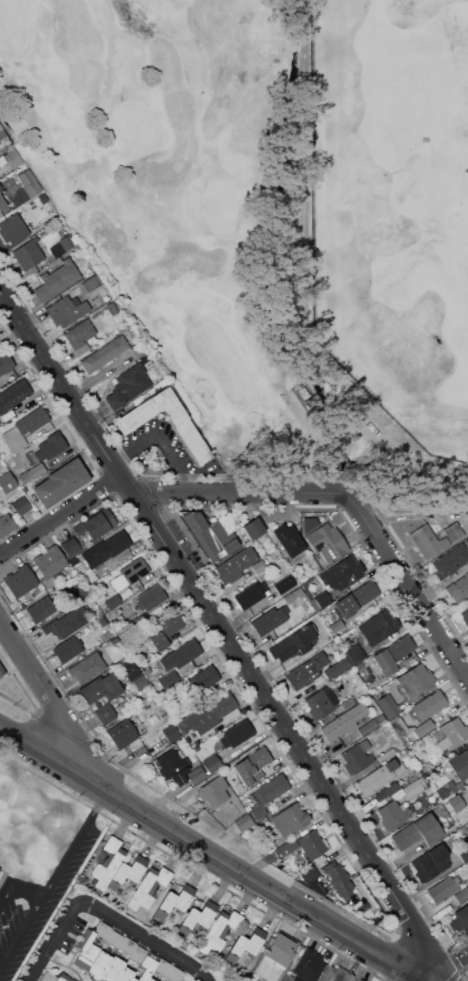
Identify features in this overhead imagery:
building: (2, 132)
building: (13, 156)
building: (0, 169)
building: (25, 187)
building: (1, 188)
park: (391, 198)
building: (2, 202)
park: (270, 209)
building: (13, 228)
building: (63, 245)
building: (28, 253)
building: (57, 279)
building: (90, 283)
building: (113, 308)
building: (67, 310)
building: (80, 336)
building: (141, 352)
building: (105, 353)
building: (6, 363)
building: (128, 386)
building: (13, 395)
building: (8, 415)
building: (24, 428)
building: (184, 428)
building: (51, 446)
building: (4, 469)
building: (32, 473)
building: (7, 482)
building: (60, 482)
road: (245, 492)
building: (21, 505)
road: (62, 517)
building: (310, 523)
building: (96, 524)
building: (6, 525)
building: (255, 527)
building: (213, 533)
building: (436, 537)
building: (289, 539)
building: (327, 541)
building: (70, 546)
building: (106, 549)
building: (360, 554)
building: (121, 555)
building: (451, 560)
building: (50, 561)
building: (235, 565)
building: (259, 566)
building: (129, 573)
building: (343, 574)
building: (20, 581)
building: (286, 584)
road: (410, 584)
building: (135, 586)
building: (458, 588)
building: (78, 591)
building: (123, 594)
building: (251, 594)
building: (293, 594)
building: (362, 594)
building: (150, 598)
building: (320, 600)
building: (41, 609)
building: (464, 615)
building: (270, 619)
building: (102, 621)
building: (65, 623)
building: (337, 626)
building: (379, 626)
building: (166, 629)
road: (224, 630)
building: (114, 641)
building: (293, 643)
building: (67, 649)
building: (356, 653)
building: (392, 654)
building: (180, 655)
building: (87, 667)
building: (131, 669)
building: (336, 669)
building: (1, 670)
building: (306, 670)
building: (203, 679)
building: (415, 679)
building: (141, 682)
building: (100, 688)
building: (348, 702)
building: (321, 703)
building: (388, 705)
building: (426, 706)
road: (59, 707)
building: (215, 708)
building: (105, 714)
building: (167, 721)
building: (343, 722)
building: (371, 724)
building: (420, 730)
building: (120, 731)
building: (205, 732)
building: (400, 732)
building: (172, 733)
building: (236, 734)
building: (452, 734)
building: (357, 756)
building: (431, 759)
building: (212, 762)
building: (460, 764)
building: (173, 766)
building: (252, 766)
building: (196, 775)
building: (377, 777)
building: (270, 789)
building: (411, 789)
building: (448, 789)
building: (387, 790)
building: (214, 791)
building: (467, 793)
building: (279, 802)
building: (457, 803)
building: (257, 811)
building: (391, 815)
building: (290, 820)
building: (243, 822)
building: (452, 828)
building: (465, 828)
building: (418, 832)
building: (467, 833)
building: (467, 835)
building: (311, 844)
building: (285, 848)
building: (463, 853)
road: (212, 854)
building: (106, 862)
building: (431, 862)
building: (126, 873)
building: (309, 874)
building: (336, 874)
road: (52, 878)
building: (317, 886)
building: (148, 887)
road: (16, 888)
building: (443, 889)
building: (461, 895)
building: (174, 901)
building: (197, 917)
building: (462, 918)
building: (102, 930)
building: (219, 931)
road: (148, 938)
building: (114, 939)
road: (56, 941)
building: (127, 945)
building: (245, 945)
building: (86, 949)
building: (278, 953)
building: (137, 954)
building: (152, 956)
building: (98, 965)
building: (162, 966)
building: (306, 967)
building: (145, 968)
road: (450, 968)
building: (112, 969)
building: (174, 974)
building: (338, 974)
building: (124, 975)
building: (48, 977)
building: (63, 977)
building: (149, 979)
building: (358, 980)
building: (360, 980)

